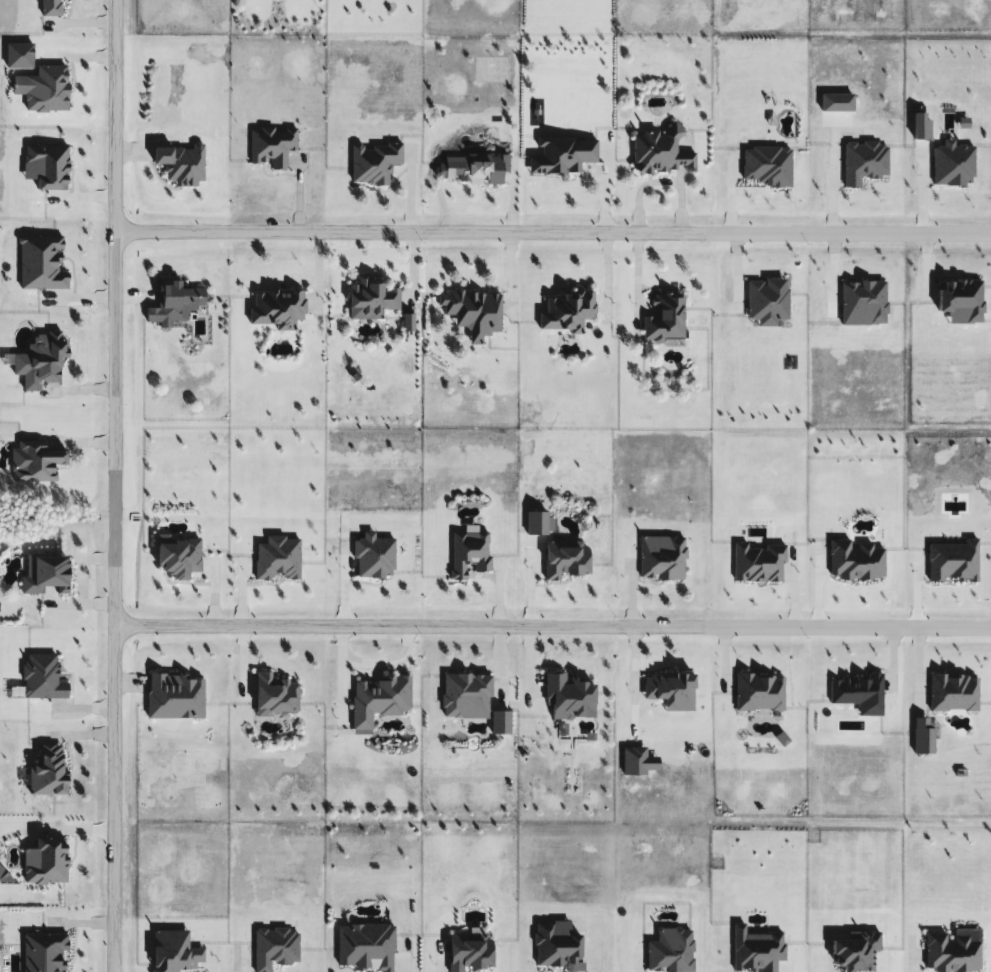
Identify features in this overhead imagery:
building: (663, 150)
building: (564, 153)
building: (480, 167)
road: (604, 189)
road: (550, 234)
building: (180, 304)
building: (278, 308)
building: (568, 310)
building: (475, 311)
building: (665, 317)
road: (110, 486)
road: (550, 626)
road: (371, 660)

